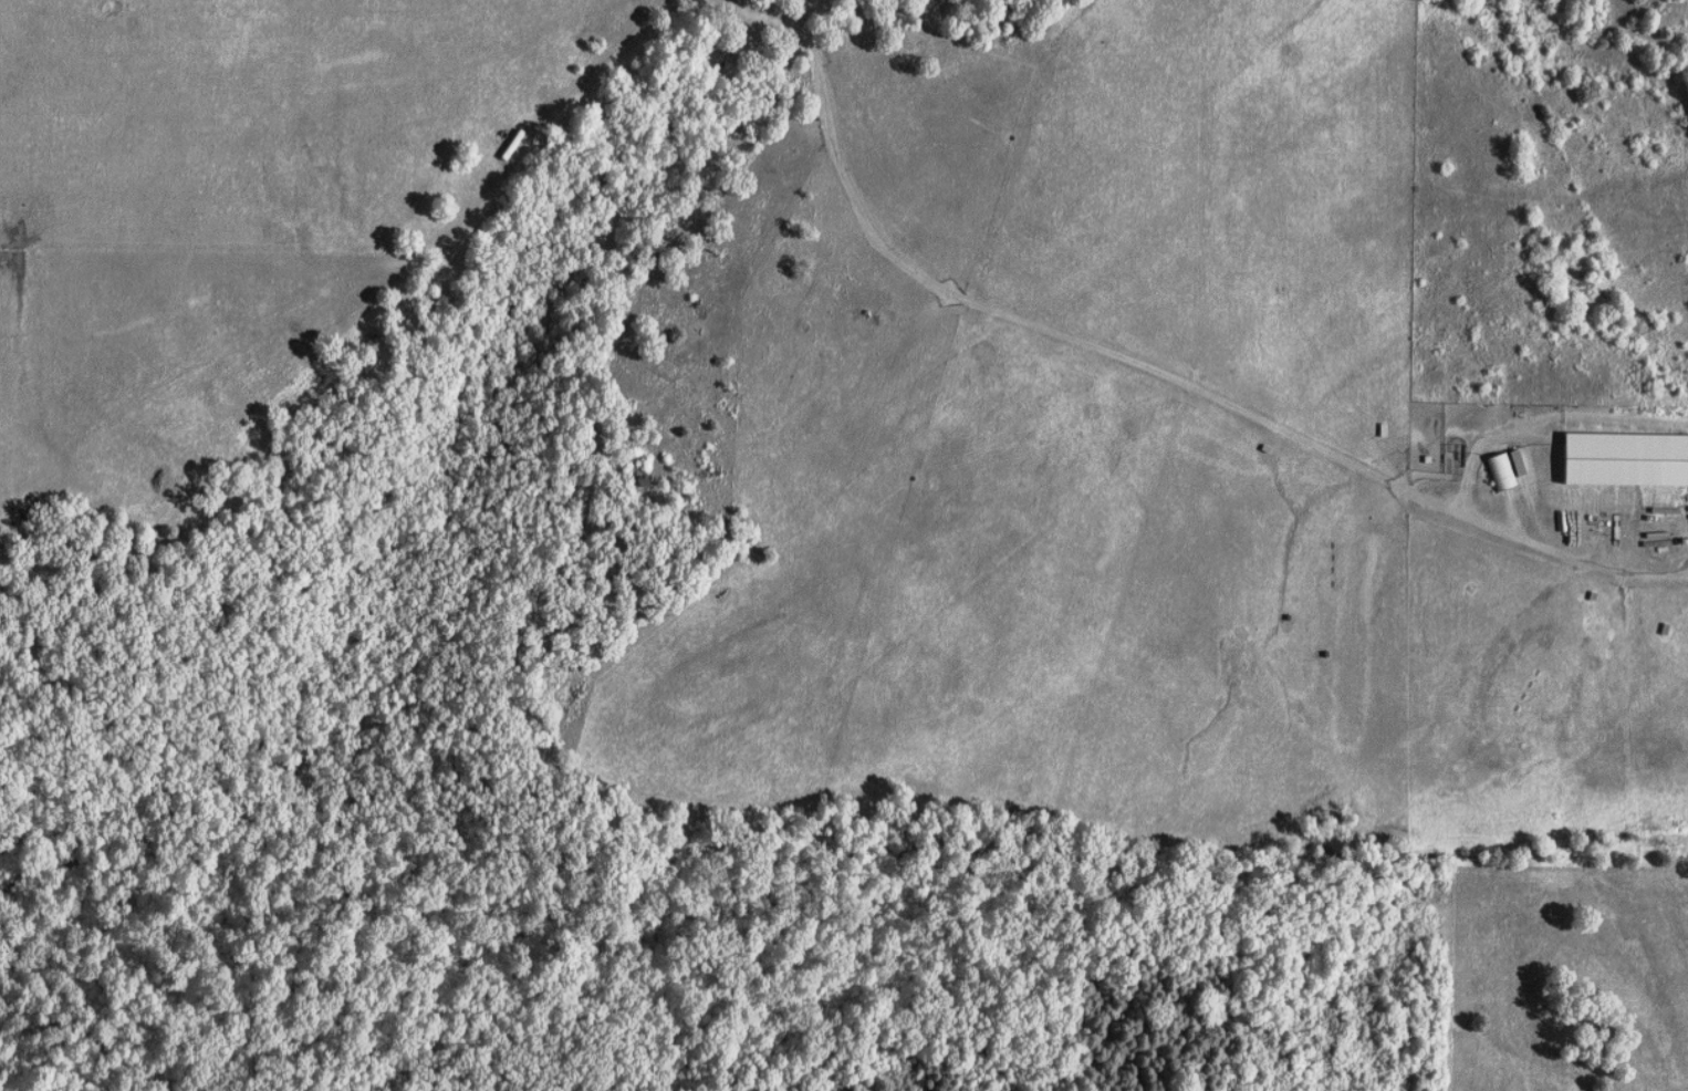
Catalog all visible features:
building: (1626, 458)
building: (1504, 470)
road: (1467, 490)

